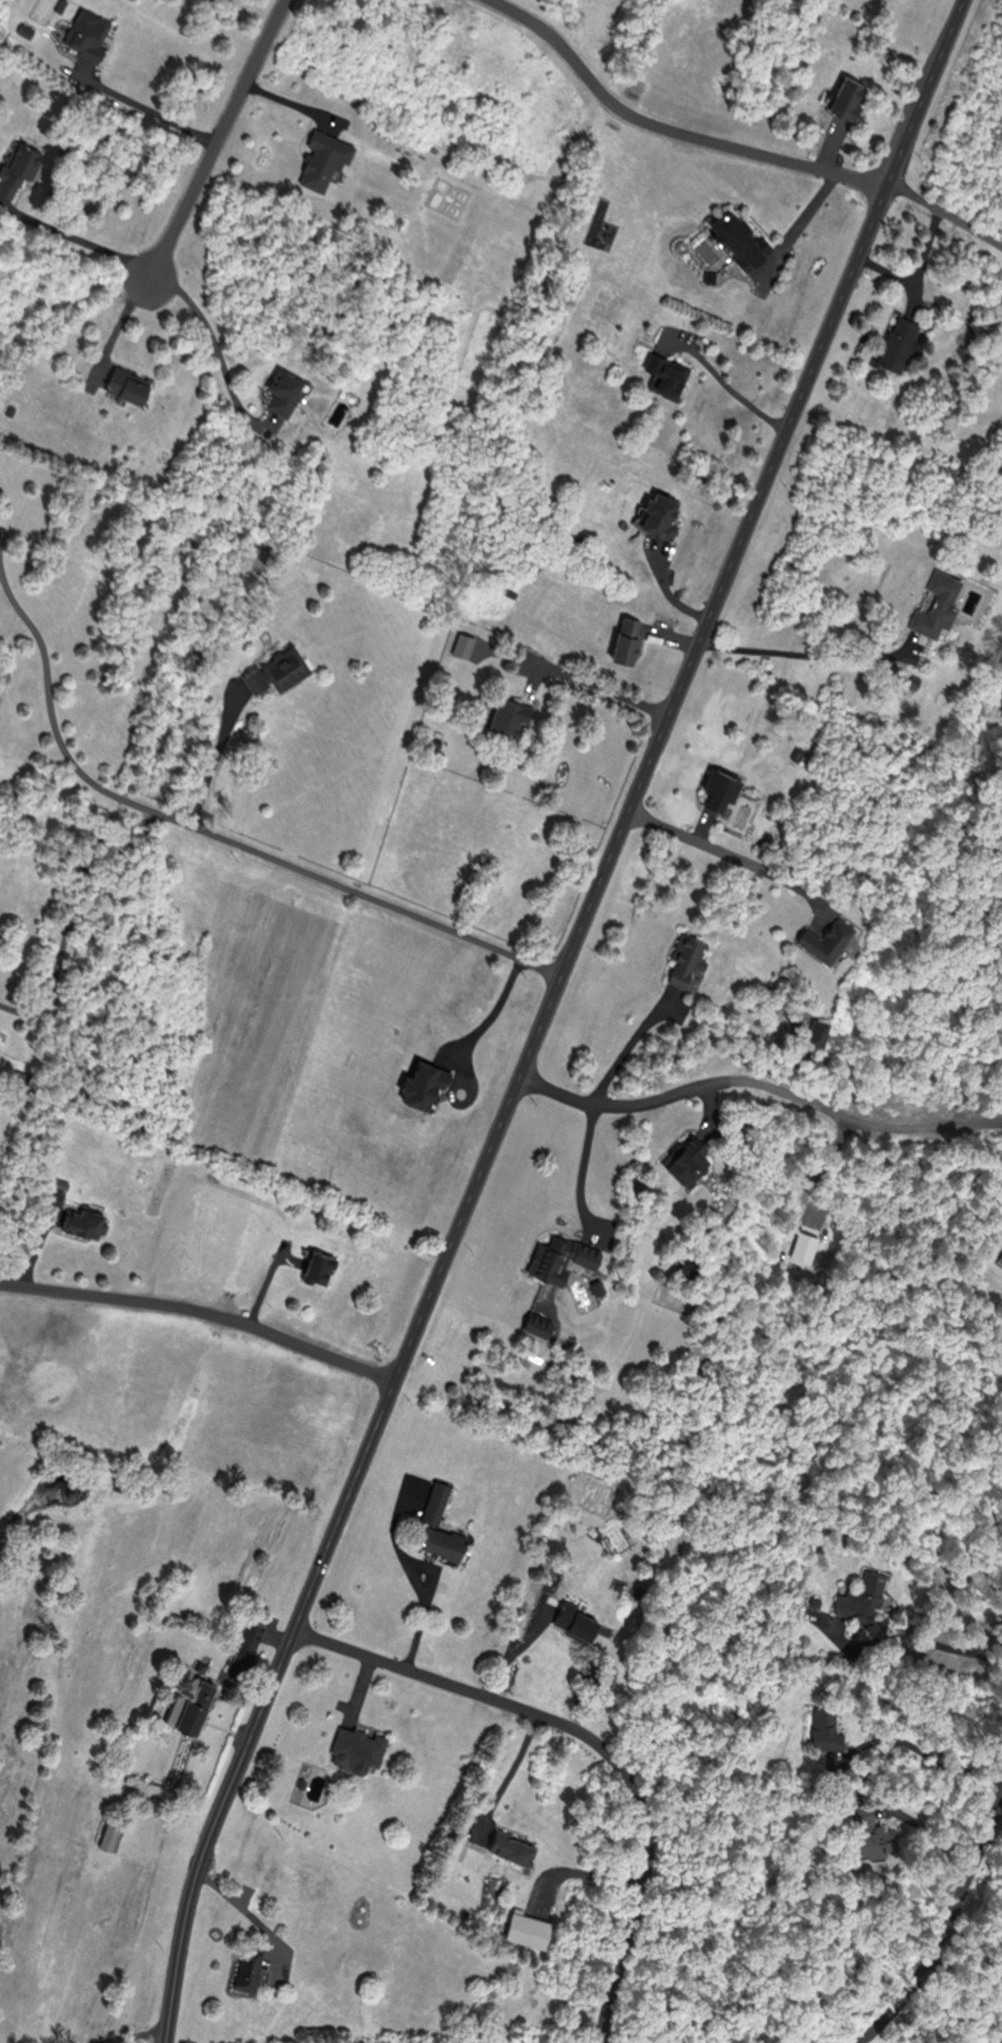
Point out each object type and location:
building: (92, 33)
building: (846, 95)
road: (146, 108)
road: (672, 129)
road: (218, 135)
building: (317, 159)
road: (945, 214)
road: (795, 224)
building: (733, 236)
road: (75, 238)
road: (122, 319)
building: (895, 342)
road: (216, 346)
building: (665, 373)
building: (124, 383)
road: (727, 385)
building: (278, 390)
building: (656, 513)
building: (257, 556)
building: (936, 603)
building: (624, 639)
road: (807, 655)
building: (273, 668)
road: (605, 689)
building: (506, 715)
road: (51, 719)
building: (430, 743)
road: (217, 758)
building: (716, 788)
road: (726, 852)
road: (365, 893)
road: (73, 909)
building: (824, 938)
building: (683, 958)
road: (543, 1015)
road: (468, 1047)
road: (630, 1047)
building: (417, 1081)
road: (687, 1088)
building: (684, 1160)
road: (583, 1172)
building: (82, 1220)
building: (560, 1257)
building: (685, 1266)
building: (317, 1267)
road: (202, 1310)
building: (437, 1503)
road: (390, 1521)
building: (439, 1542)
road: (412, 1584)
building: (864, 1594)
building: (572, 1619)
road: (918, 1631)
building: (246, 1640)
road: (512, 1650)
building: (192, 1705)
building: (822, 1727)
road: (601, 1739)
building: (354, 1748)
road: (923, 1752)
road: (508, 1772)
road: (929, 1829)
building: (111, 1834)
building: (868, 1839)
building: (505, 1846)
road: (941, 1930)
road: (973, 1936)
building: (243, 1966)
road: (132, 2034)

